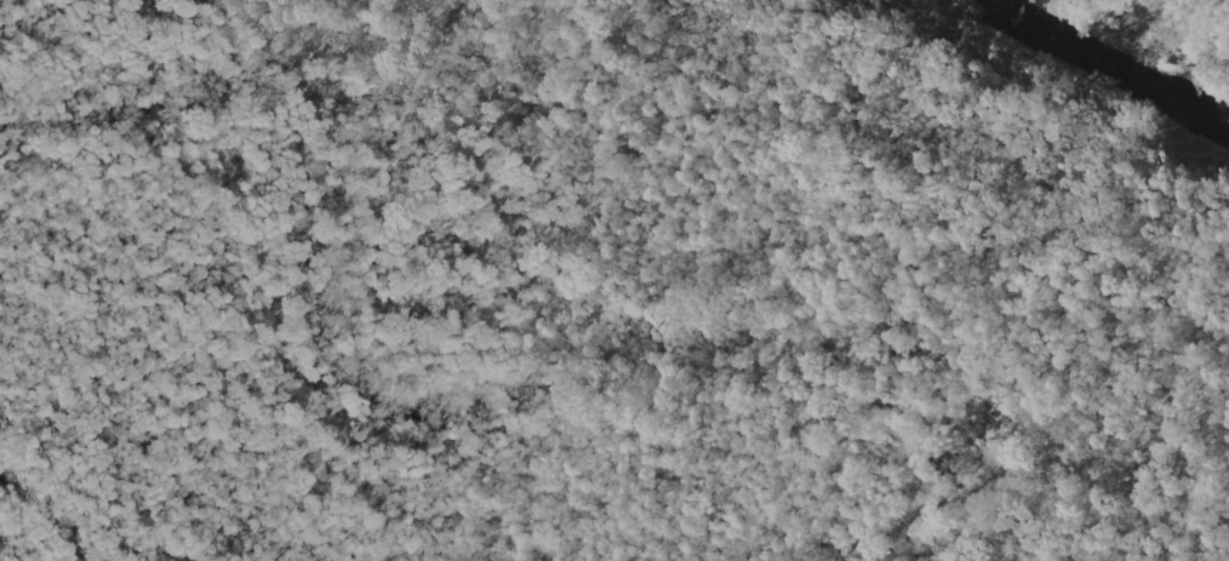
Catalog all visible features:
river: (1102, 63)

